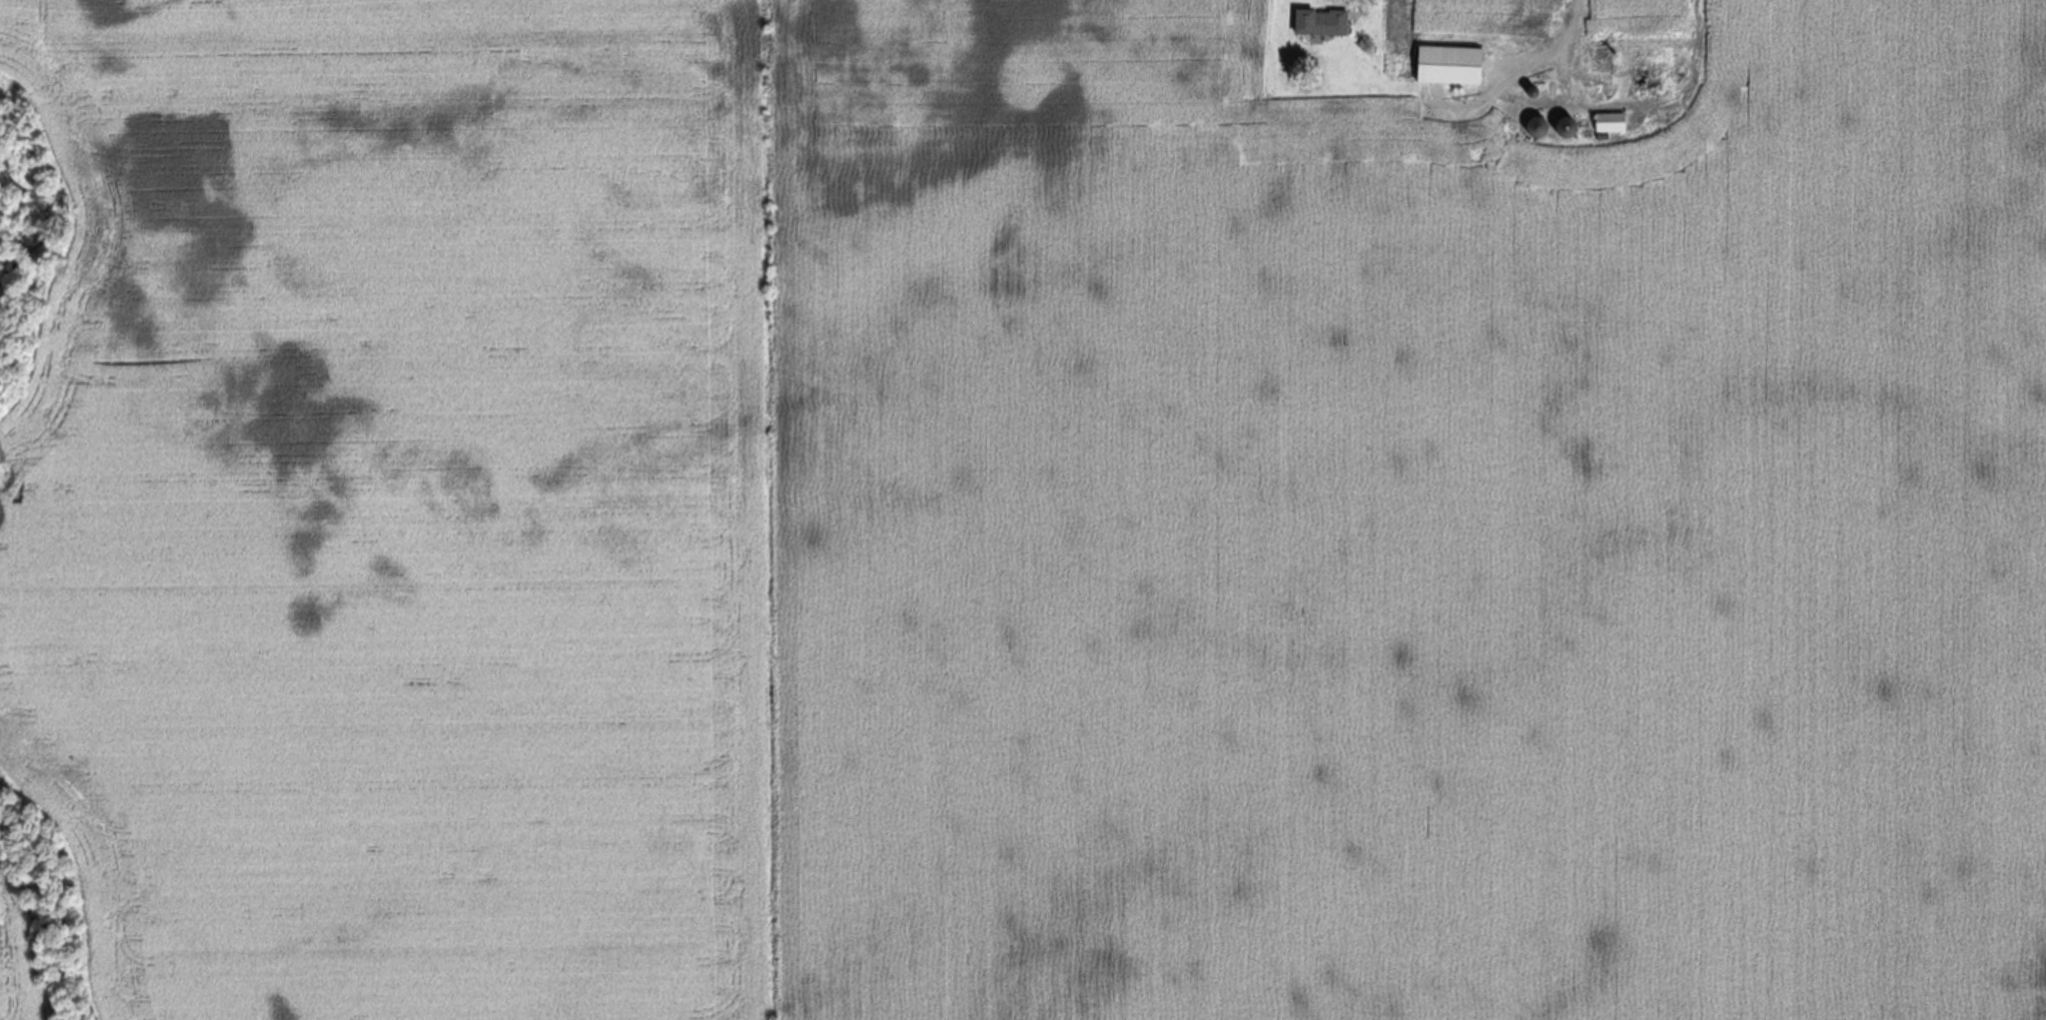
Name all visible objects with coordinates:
building: (1318, 26)
building: (1447, 69)
building: (1645, 79)
building: (1608, 126)

